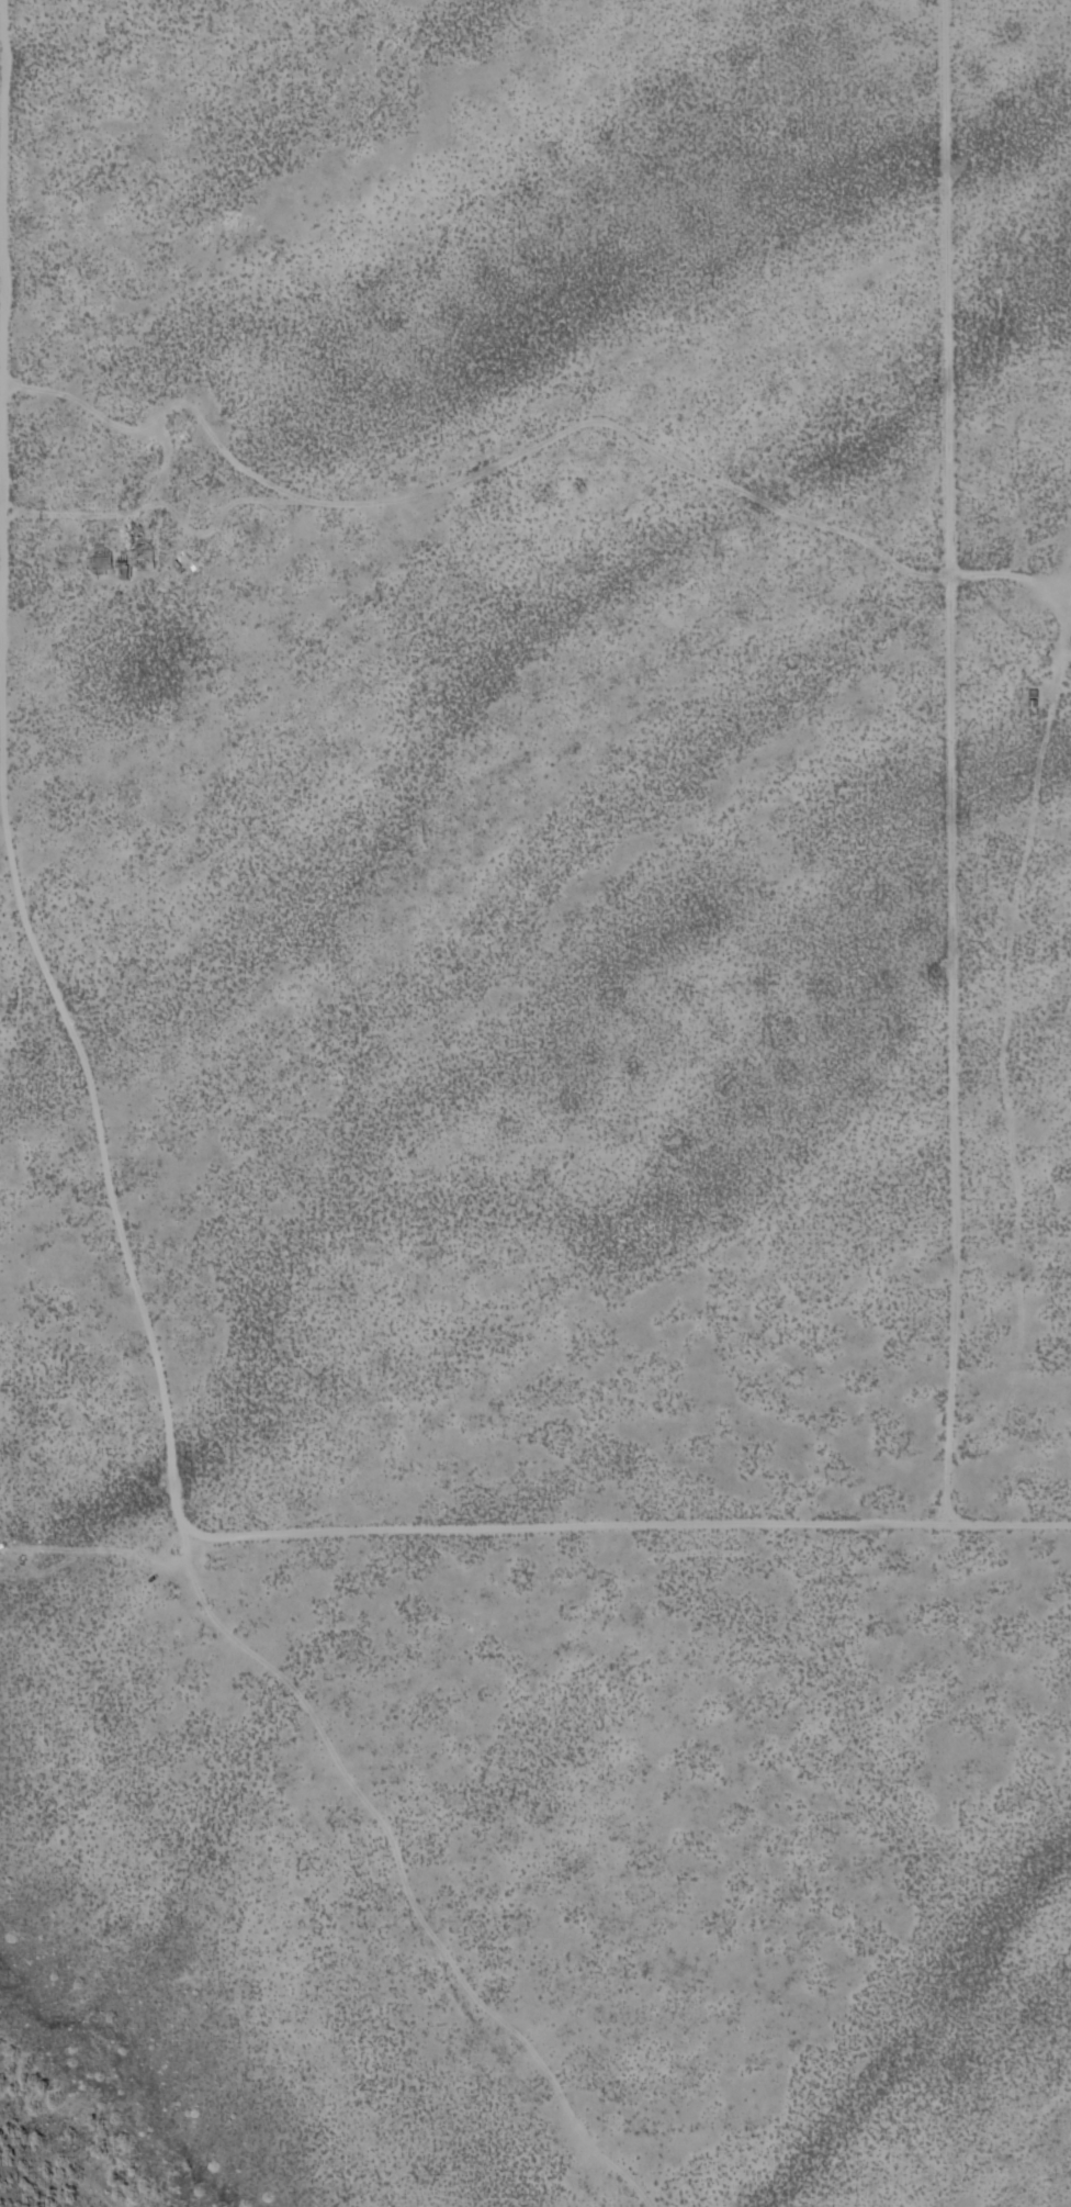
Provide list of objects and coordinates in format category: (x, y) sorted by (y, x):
road: (174, 1166)

